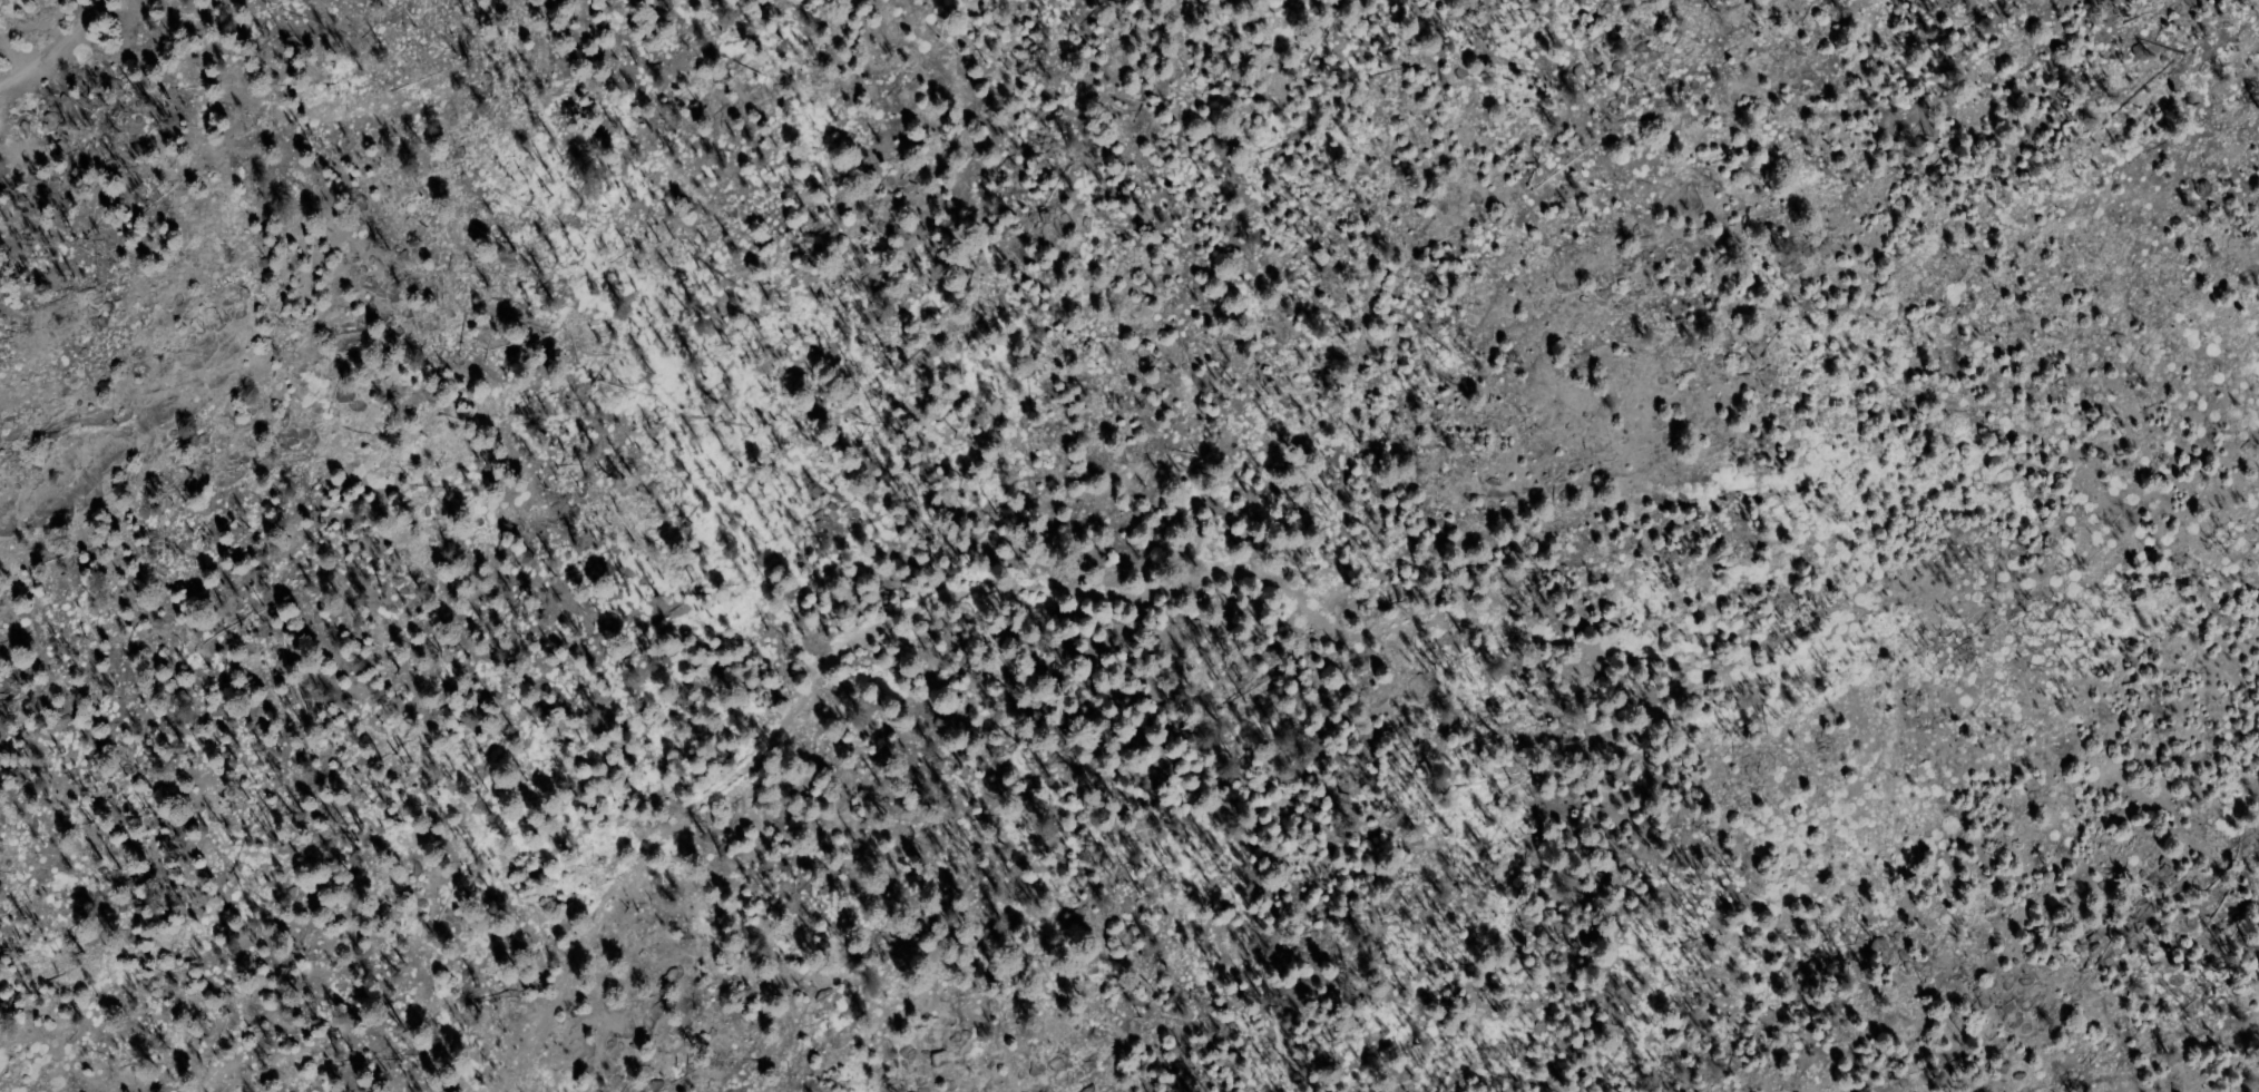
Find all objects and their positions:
road: (56, 46)

